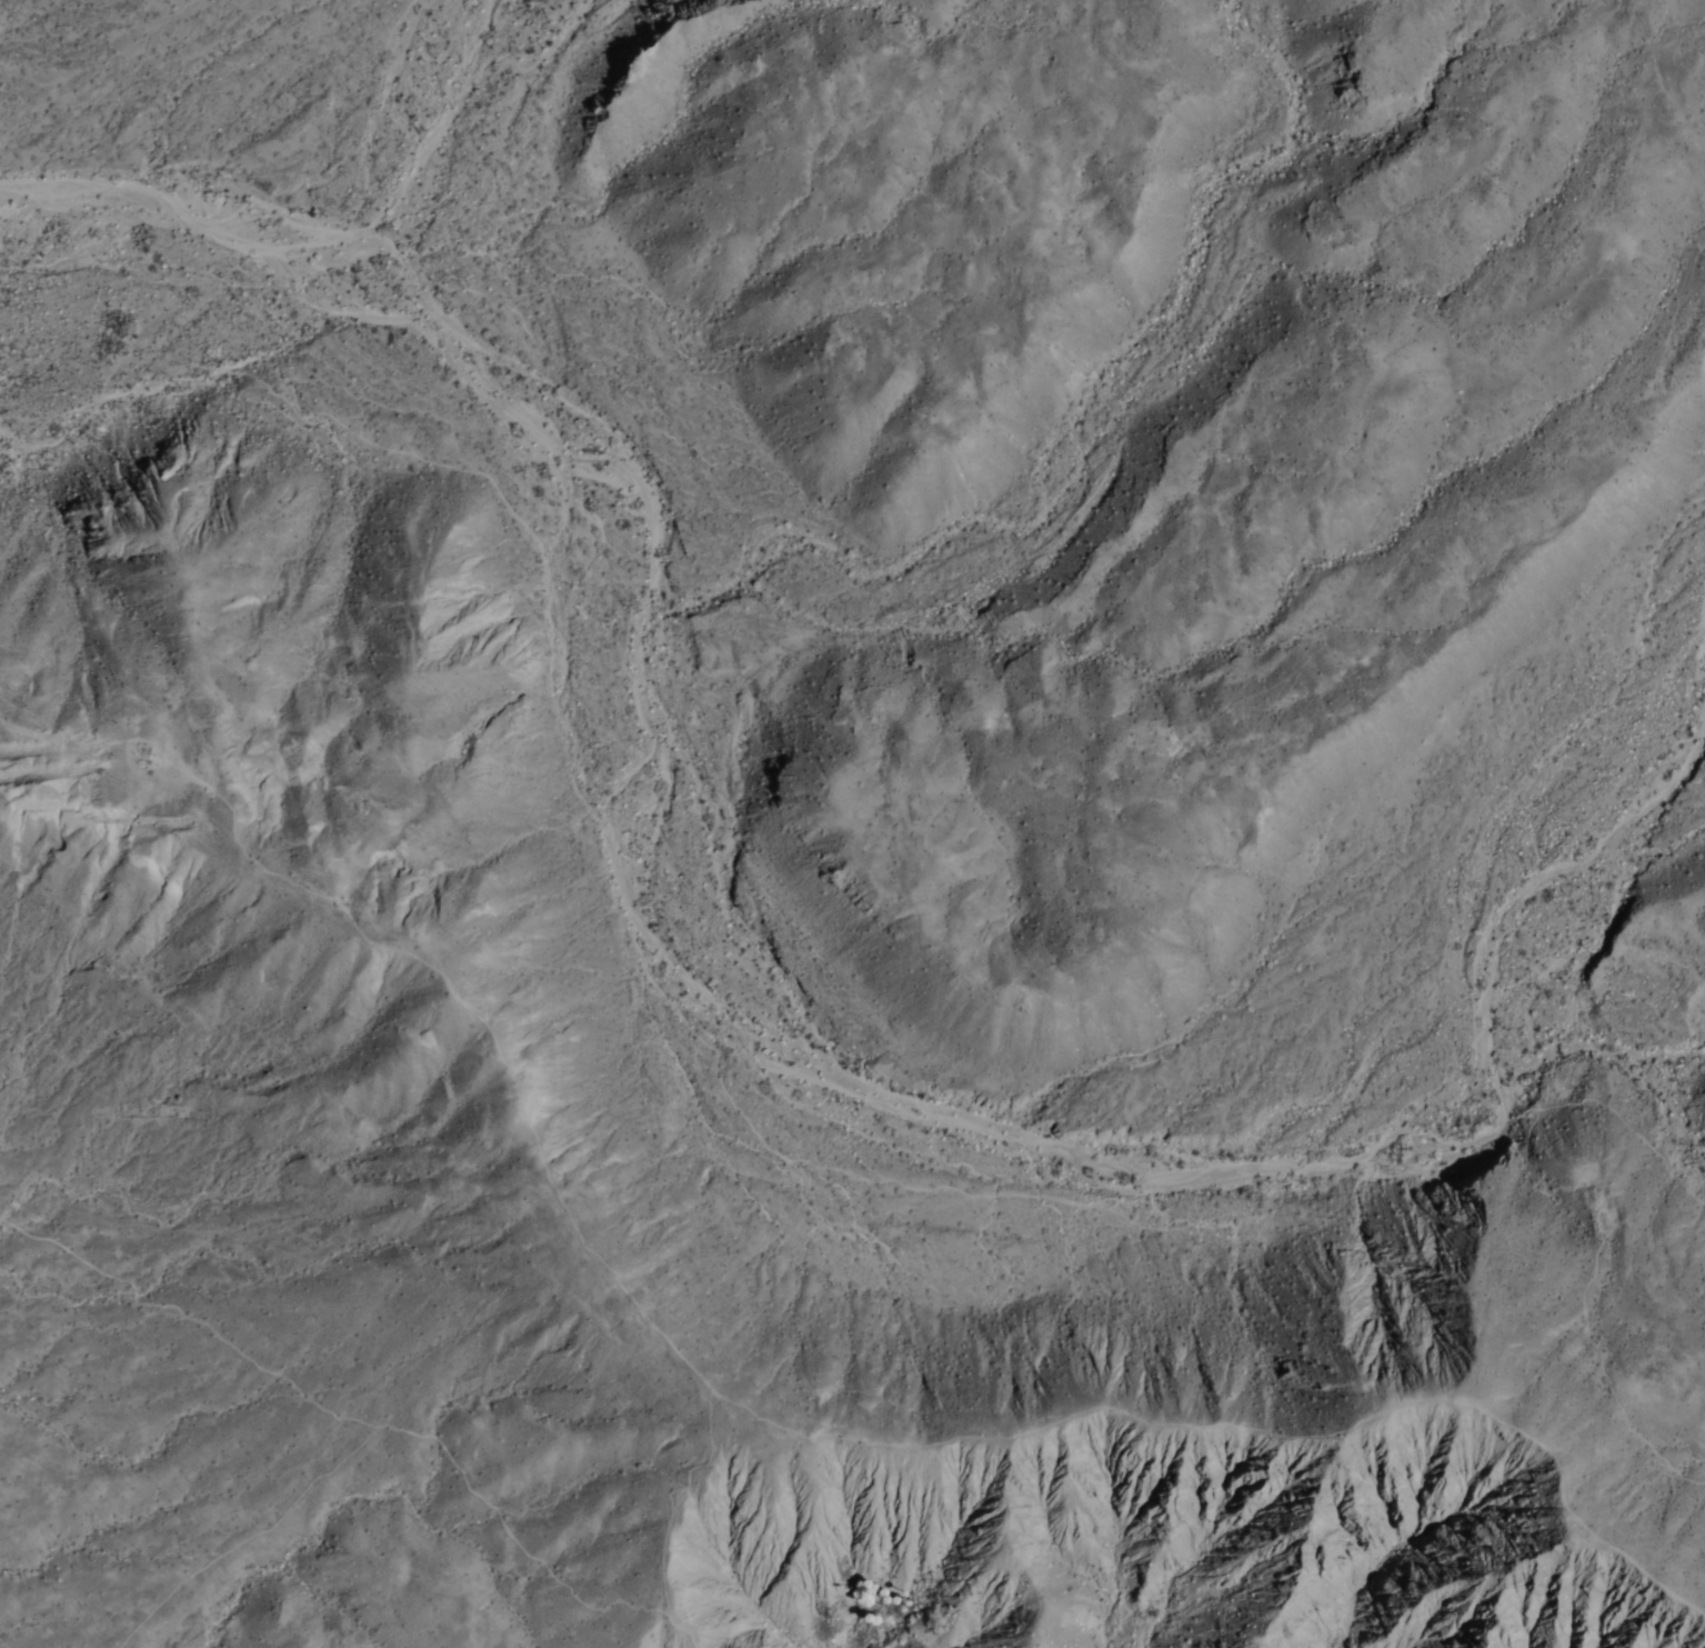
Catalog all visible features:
road: (421, 963)
road: (341, 1419)
road: (681, 1494)

